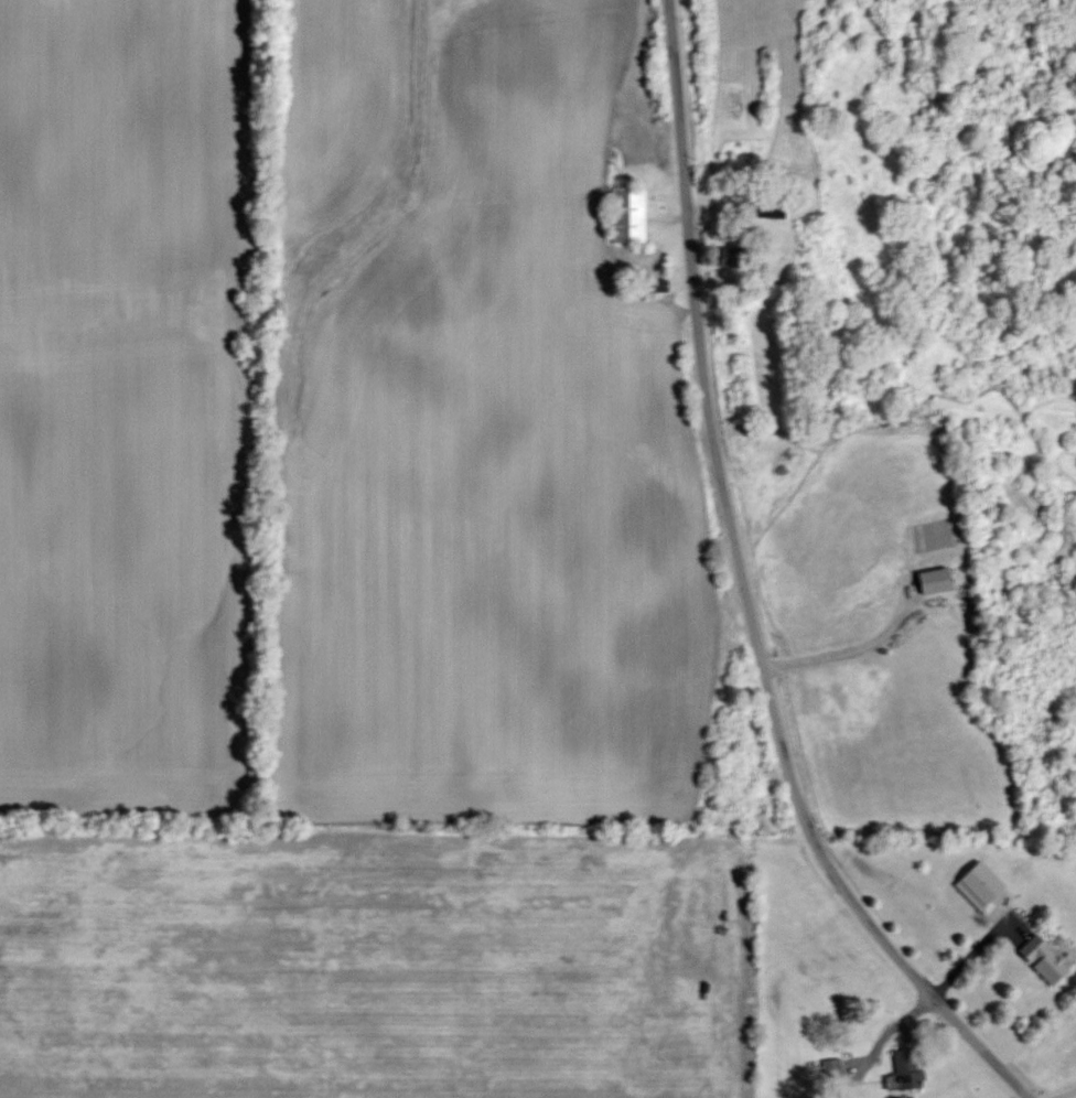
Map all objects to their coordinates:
building: (627, 214)
building: (808, 241)
road: (743, 590)
building: (829, 683)
building: (836, 703)
building: (1043, 958)
building: (904, 1070)
building: (831, 1073)
road: (1058, 1089)

